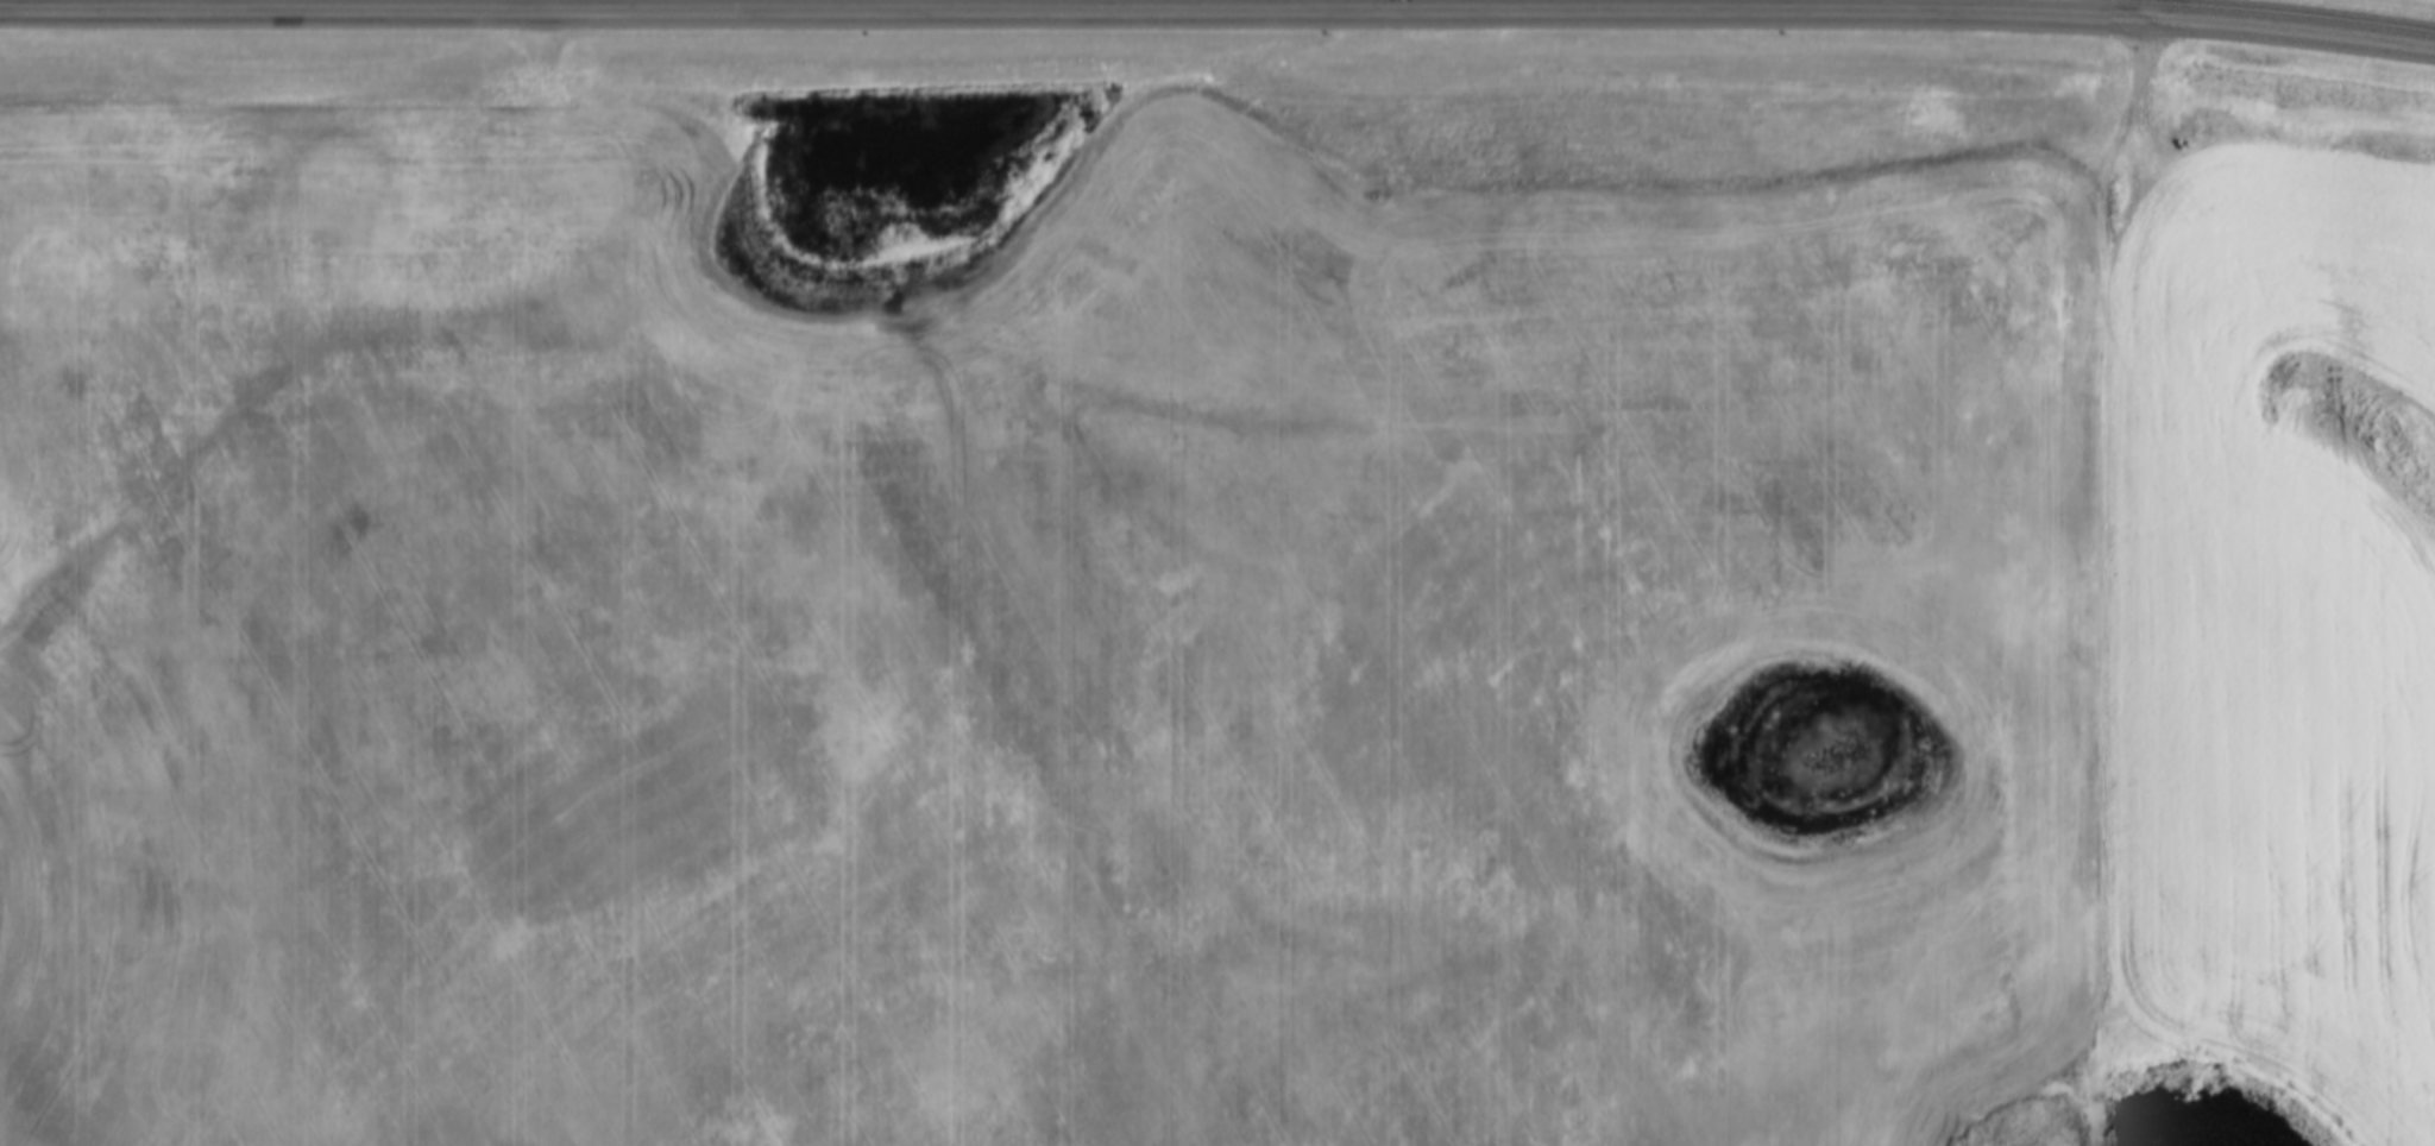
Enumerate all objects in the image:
road: (763, 2)
road: (2088, 5)
road: (2152, 5)

